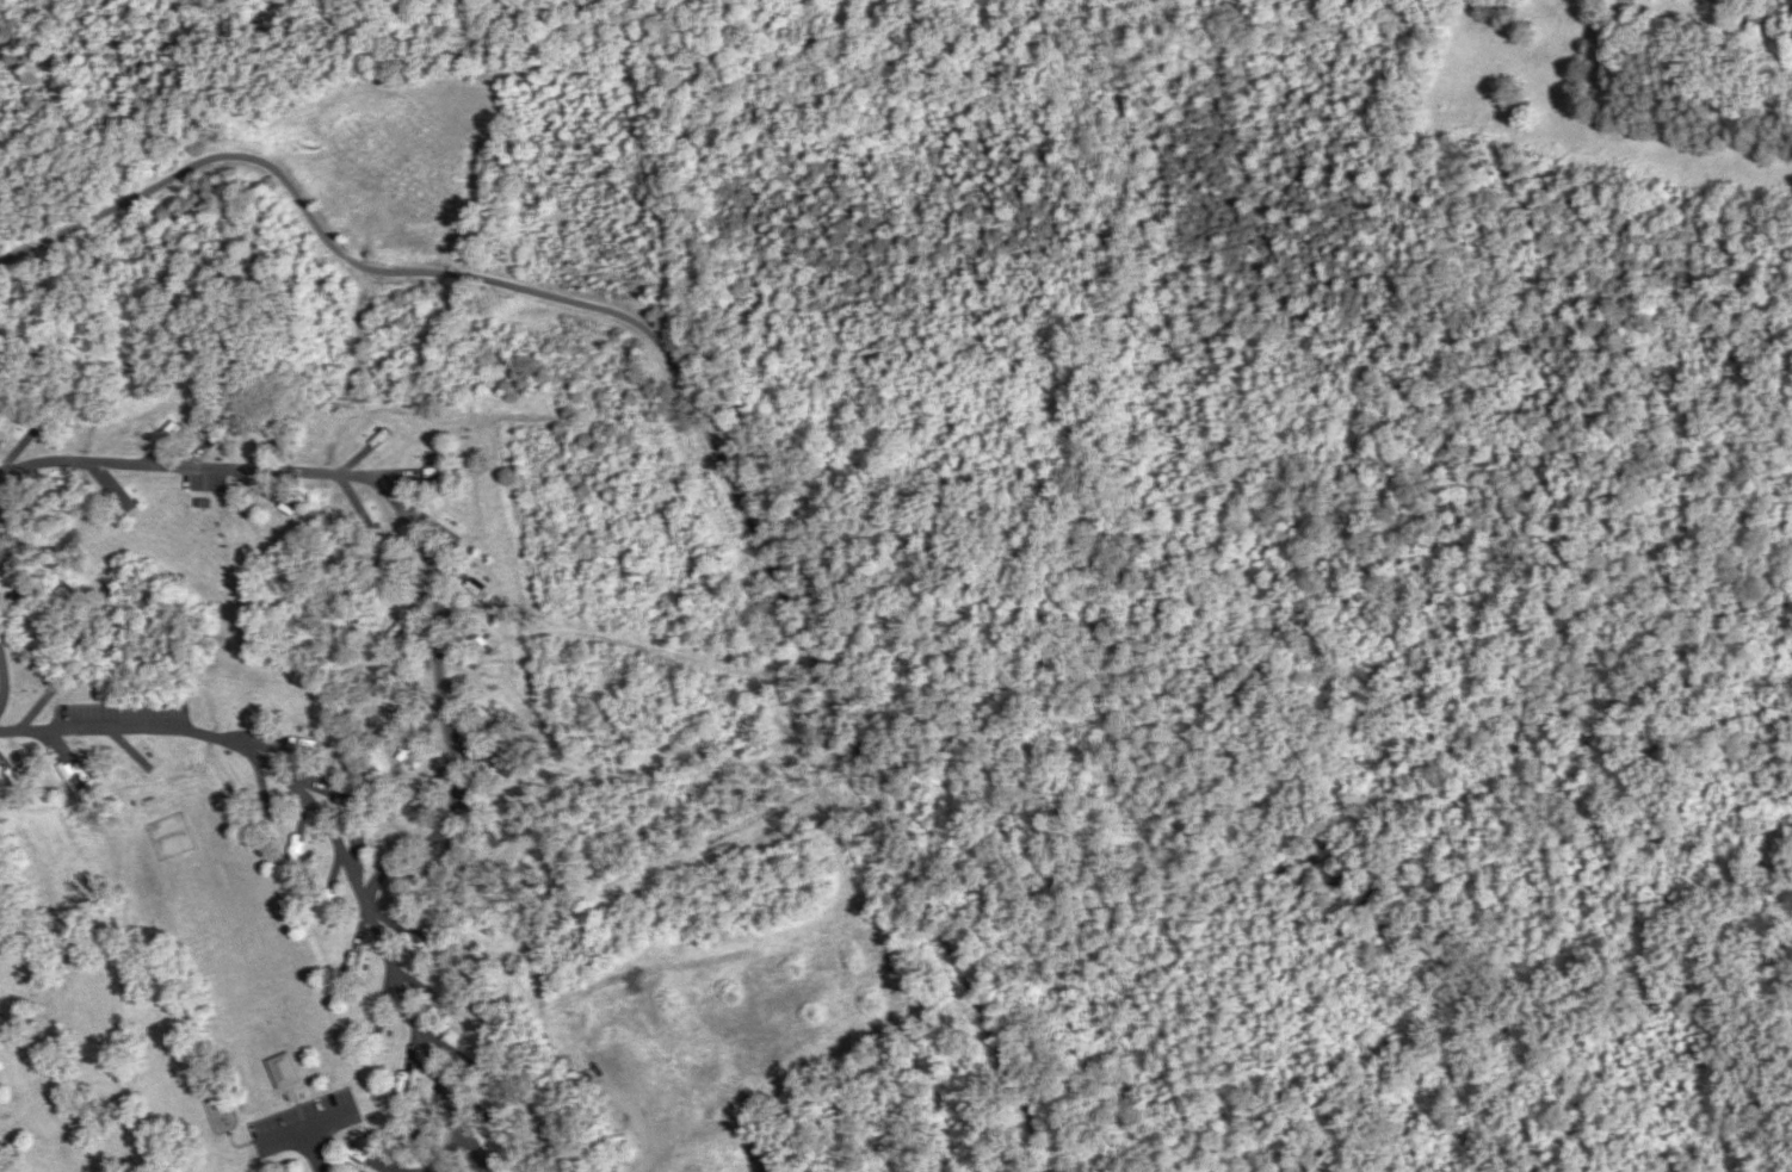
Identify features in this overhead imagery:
building: (1759, 18)
road: (1759, 66)
building: (200, 520)
road: (437, 666)
road: (0, 686)
road: (218, 738)
building: (283, 1069)
park: (221, 1105)

